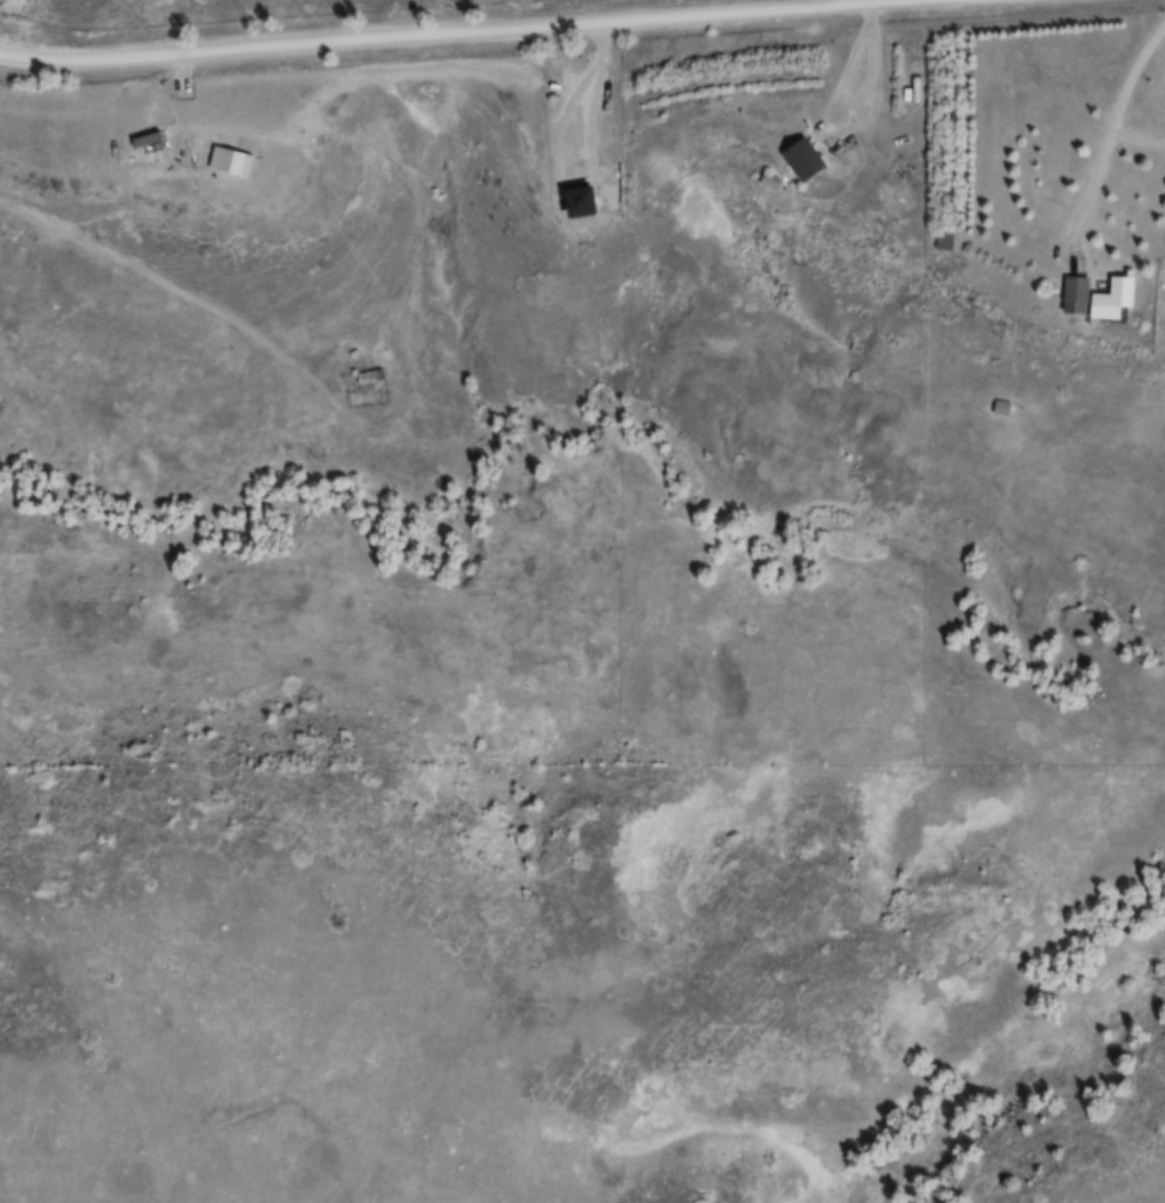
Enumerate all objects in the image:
road: (481, 33)
road: (1111, 126)
building: (805, 155)
building: (570, 205)
building: (1075, 294)
building: (1106, 303)
building: (369, 376)
building: (1001, 408)

